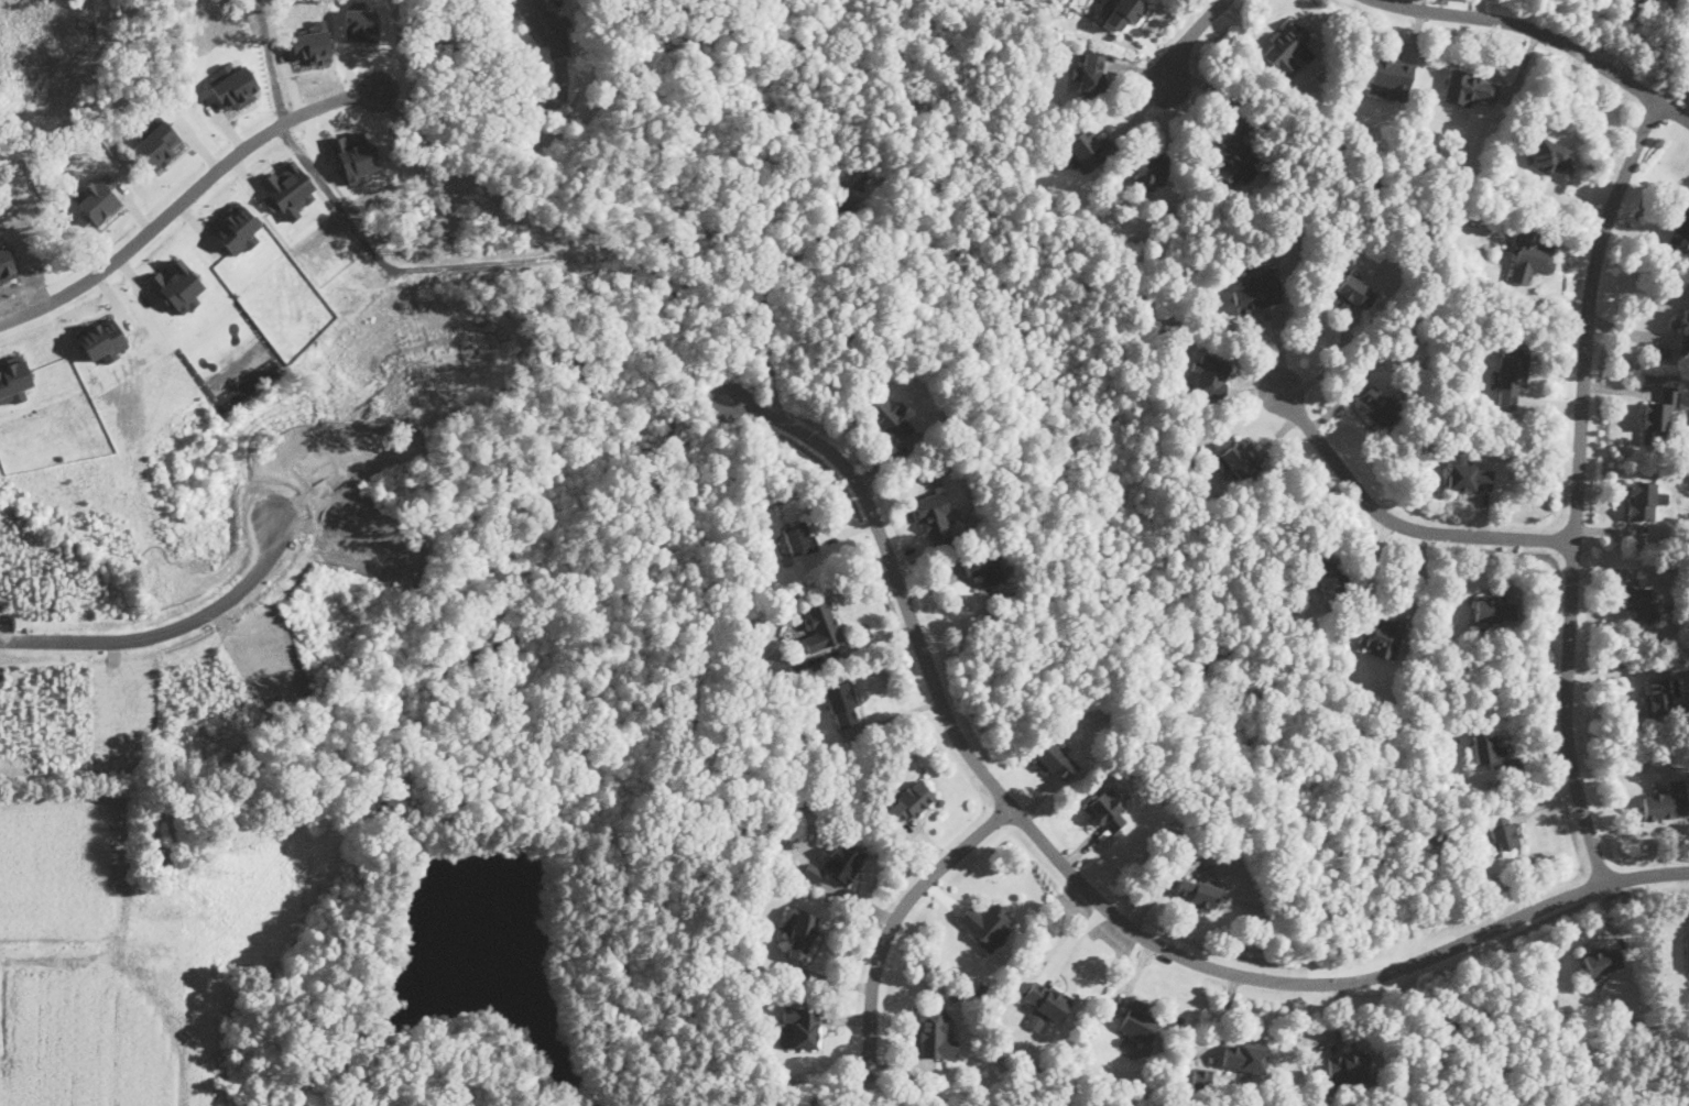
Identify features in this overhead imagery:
road: (1403, 3)
building: (1124, 12)
building: (545, 25)
road: (1544, 31)
road: (1186, 39)
road: (1658, 46)
building: (1286, 47)
building: (1090, 75)
building: (1392, 75)
building: (232, 86)
building: (1469, 87)
road: (470, 111)
building: (156, 141)
building: (1088, 149)
building: (1549, 157)
building: (1238, 160)
building: (1152, 165)
building: (286, 190)
building: (97, 198)
road: (178, 202)
building: (1680, 226)
building: (237, 229)
building: (1532, 255)
building: (176, 287)
building: (1257, 289)
building: (1354, 292)
building: (1683, 329)
building: (101, 339)
road: (1329, 365)
building: (1511, 374)
building: (1209, 376)
building: (13, 381)
building: (1380, 405)
building: (1659, 412)
building: (889, 418)
building: (1236, 462)
building: (1467, 474)
road: (1578, 488)
building: (1643, 500)
building: (934, 519)
road: (1393, 519)
building: (798, 537)
building: (985, 569)
building: (1328, 574)
building: (1643, 601)
building: (1494, 609)
building: (820, 625)
road: (165, 629)
building: (1380, 635)
building: (797, 664)
building: (1658, 697)
building: (842, 703)
building: (1488, 748)
building: (1055, 762)
building: (908, 800)
building: (1666, 800)
building: (1105, 811)
building: (1502, 829)
building: (842, 861)
building: (1197, 893)
road: (1093, 895)
road: (895, 918)
building: (985, 923)
building: (800, 932)
building: (1687, 953)
building: (1602, 959)
building: (1045, 1004)
building: (1137, 1020)
building: (800, 1026)
building: (934, 1034)
building: (1244, 1058)
building: (1348, 1070)
building: (1201, 1077)

